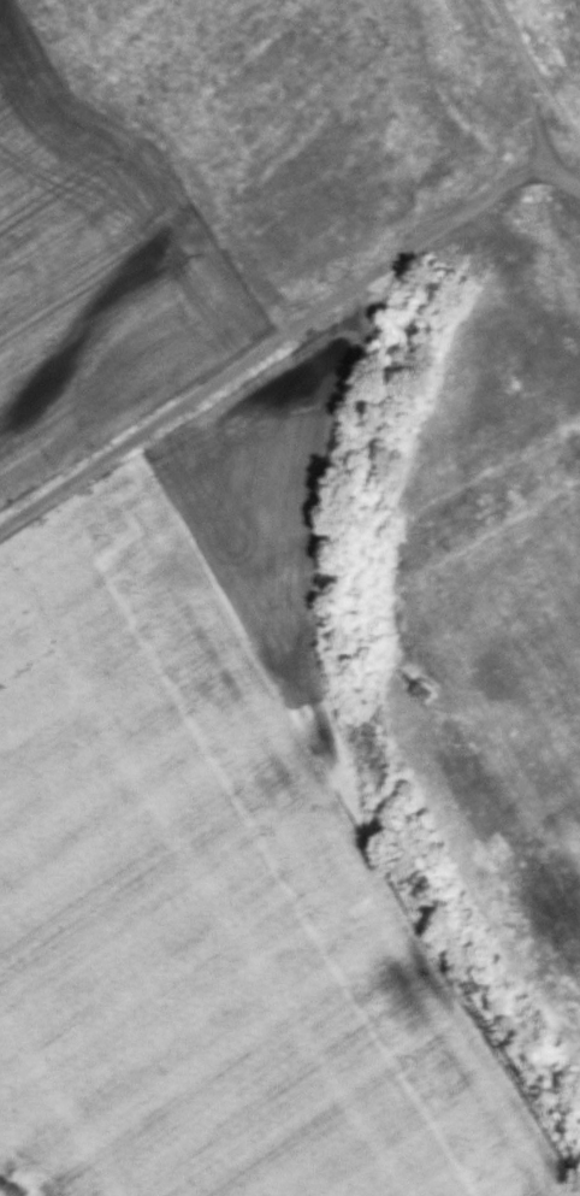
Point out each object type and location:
road: (526, 83)
road: (562, 169)
crop: (200, 179)
road: (268, 342)
power tower: (418, 690)
crop: (298, 749)

